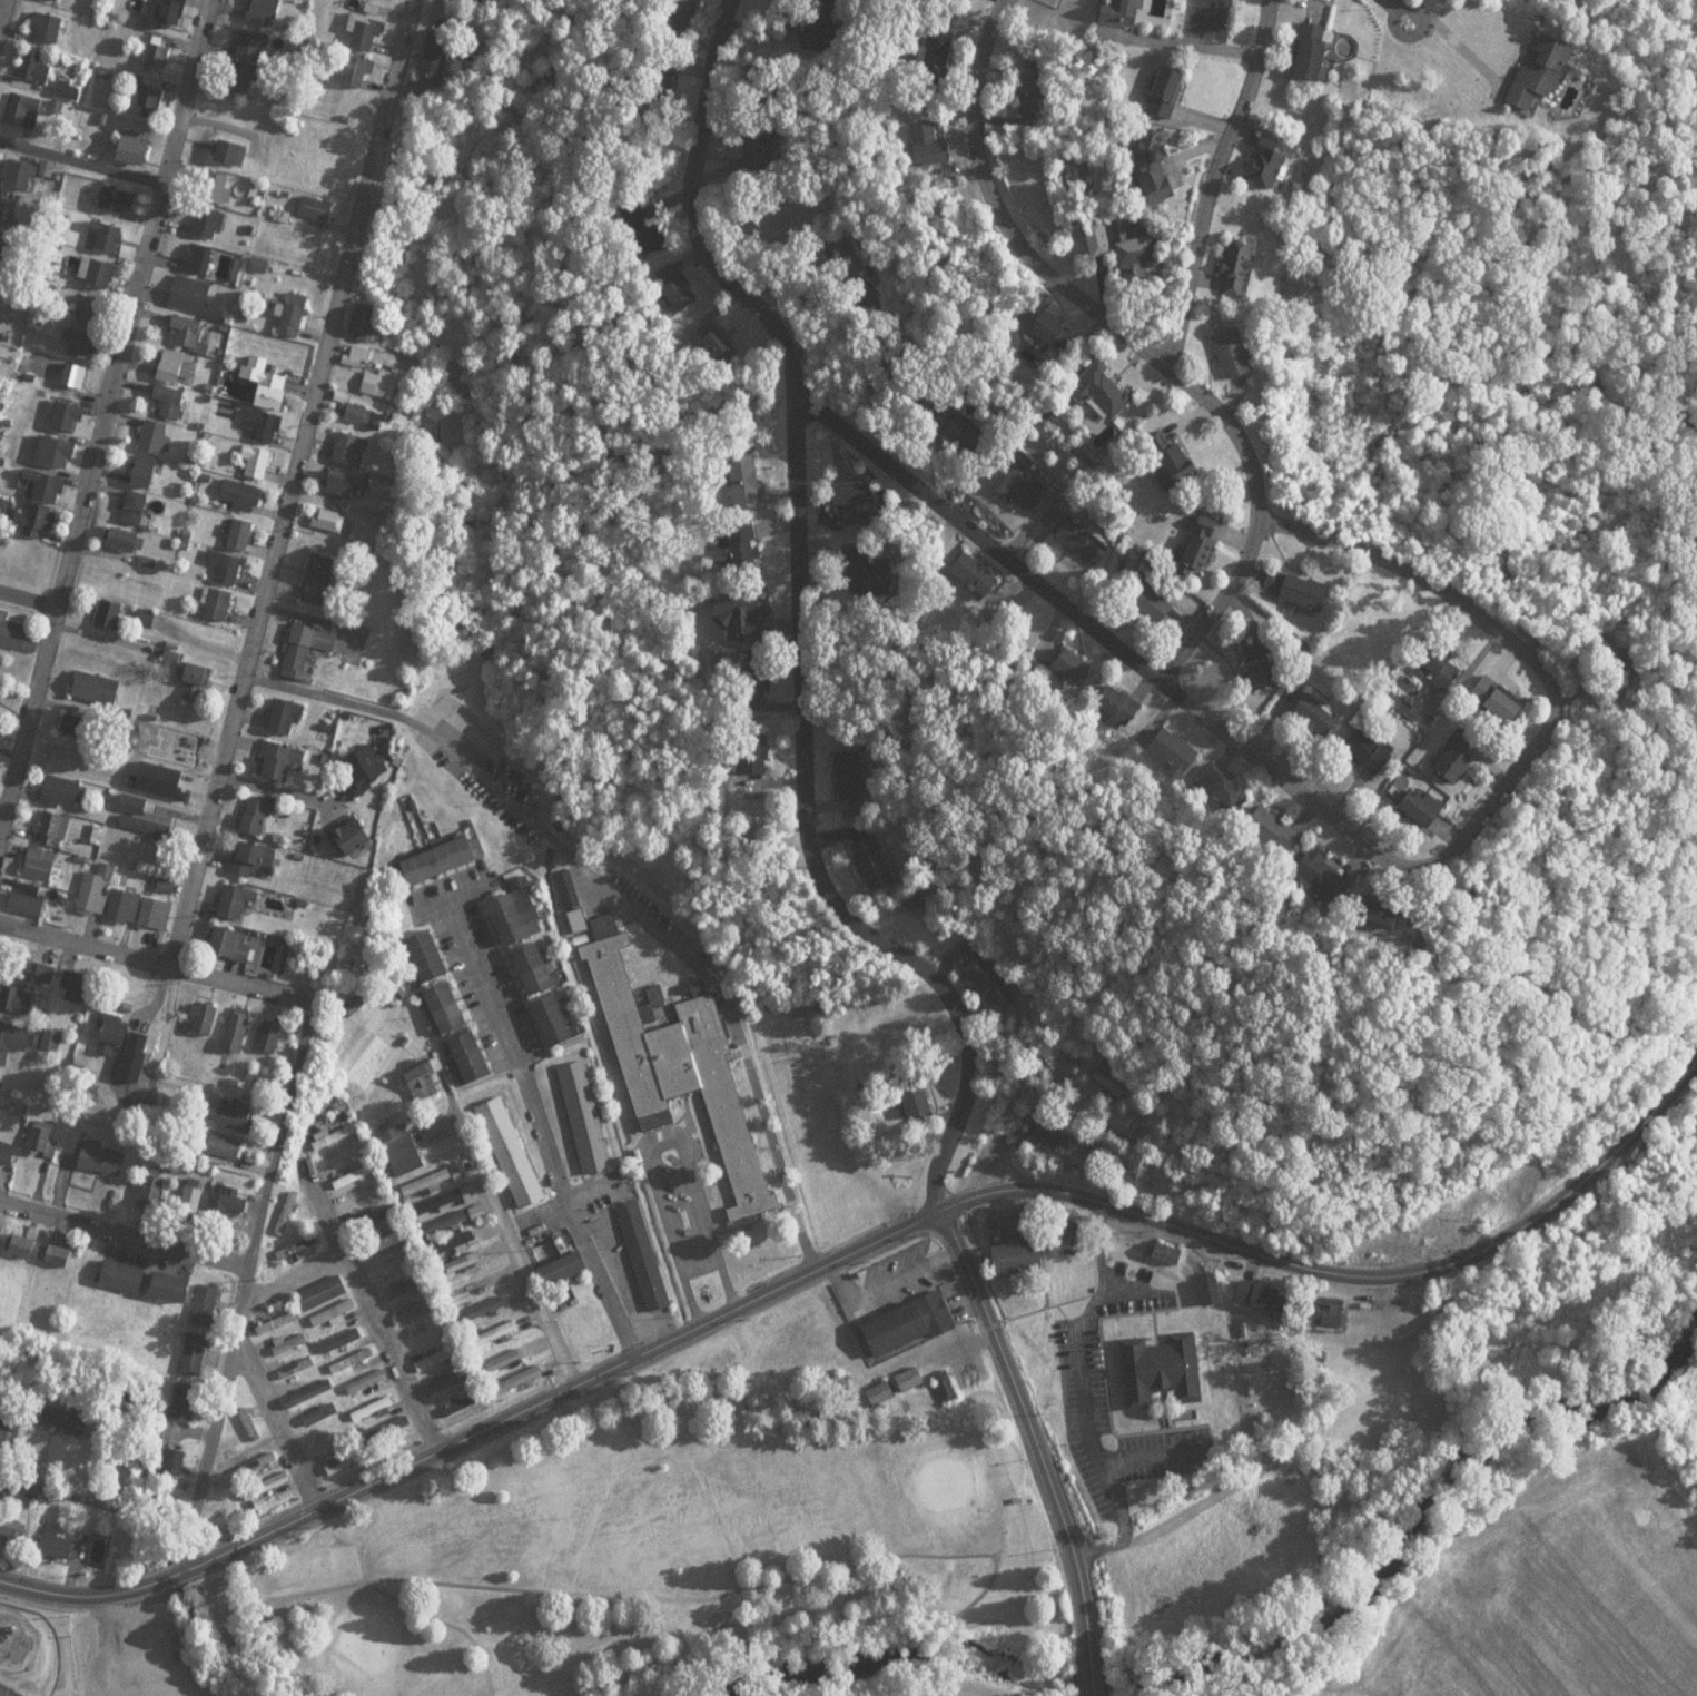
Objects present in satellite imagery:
building: (52, 2)
road: (1398, 6)
road: (2, 10)
road: (1408, 10)
building: (1121, 12)
building: (264, 16)
building: (170, 18)
building: (48, 34)
building: (368, 43)
road: (1183, 43)
building: (939, 46)
building: (253, 51)
building: (1312, 51)
building: (437, 61)
building: (158, 63)
building: (1542, 70)
building: (34, 73)
building: (361, 77)
building: (245, 85)
building: (68, 89)
building: (1034, 89)
building: (1167, 91)
building: (71, 97)
building: (152, 105)
building: (24, 118)
building: (928, 146)
building: (131, 149)
building: (760, 154)
building: (231, 160)
road: (81, 164)
building: (1154, 165)
building: (1264, 165)
building: (19, 181)
road: (1215, 181)
building: (220, 195)
building: (117, 206)
building: (317, 215)
building: (8, 217)
building: (783, 220)
building: (787, 227)
building: (210, 230)
building: (111, 245)
building: (1126, 247)
building: (4, 250)
building: (200, 265)
building: (1235, 268)
building: (0, 273)
building: (101, 280)
building: (1, 283)
road: (1055, 284)
building: (680, 300)
building: (191, 302)
building: (92, 317)
building: (296, 323)
building: (367, 327)
building: (1052, 329)
building: (188, 339)
building: (1230, 352)
building: (720, 353)
building: (177, 374)
building: (73, 382)
building: (269, 390)
building: (383, 390)
building: (1104, 391)
building: (171, 408)
road: (105, 412)
building: (65, 422)
building: (266, 432)
building: (965, 434)
building: (156, 444)
building: (352, 454)
building: (57, 460)
building: (1182, 461)
building: (256, 470)
building: (147, 479)
road: (294, 482)
building: (1020, 490)
building: (344, 491)
building: (46, 494)
building: (244, 502)
building: (137, 514)
building: (330, 526)
building: (40, 527)
building: (238, 535)
building: (1081, 541)
building: (1198, 544)
building: (124, 546)
building: (749, 566)
building: (228, 568)
building: (868, 576)
building: (969, 578)
building: (320, 580)
building: (1302, 592)
road: (28, 598)
building: (218, 602)
building: (1153, 603)
road: (797, 618)
building: (110, 621)
building: (740, 623)
building: (13, 639)
building: (304, 648)
building: (1261, 664)
building: (1073, 665)
building: (1437, 667)
building: (197, 689)
building: (98, 696)
building: (1508, 703)
building: (1119, 704)
building: (1318, 714)
building: (288, 722)
building: (1172, 751)
building: (1370, 751)
building: (1456, 757)
building: (279, 768)
building: (847, 773)
building: (367, 788)
building: (1223, 788)
road: (284, 791)
building: (63, 798)
building: (1422, 808)
building: (258, 824)
building: (144, 827)
building: (147, 835)
building: (1276, 835)
building: (53, 837)
building: (355, 842)
building: (442, 858)
building: (254, 866)
building: (871, 866)
road: (1424, 869)
building: (40, 871)
building: (1324, 878)
road: (620, 889)
building: (96, 897)
building: (29, 907)
building: (238, 908)
building: (1382, 911)
building: (125, 915)
building: (507, 917)
building: (157, 920)
building: (576, 928)
building: (233, 951)
building: (430, 956)
building: (534, 972)
building: (42, 979)
building: (988, 983)
road: (320, 984)
building: (77, 992)
road: (285, 992)
building: (17, 1007)
building: (448, 1009)
building: (555, 1022)
building: (207, 1026)
building: (239, 1039)
road: (509, 1039)
building: (273, 1044)
building: (124, 1045)
building: (52, 1046)
building: (13, 1047)
building: (466, 1056)
building: (675, 1061)
building: (0, 1087)
building: (425, 1089)
building: (2, 1100)
building: (915, 1100)
building: (238, 1123)
building: (585, 1125)
building: (1042, 1135)
building: (327, 1136)
road: (661, 1136)
building: (330, 1144)
building: (43, 1150)
building: (341, 1155)
building: (404, 1157)
building: (8, 1160)
building: (512, 1160)
building: (344, 1163)
building: (105, 1166)
building: (351, 1175)
building: (423, 1182)
building: (354, 1183)
building: (426, 1189)
building: (154, 1194)
building: (442, 1201)
building: (445, 1207)
road: (948, 1209)
building: (284, 1212)
building: (230, 1214)
building: (0, 1217)
building: (371, 1217)
building: (287, 1220)
building: (451, 1220)
building: (374, 1225)
road: (124, 1226)
building: (454, 1226)
building: (2, 1236)
building: (384, 1241)
building: (451, 1243)
building: (298, 1246)
building: (387, 1249)
building: (455, 1251)
road: (521, 1251)
building: (28, 1254)
building: (300, 1254)
building: (1165, 1254)
building: (56, 1255)
building: (1020, 1258)
building: (461, 1262)
building: (60, 1263)
building: (393, 1263)
building: (645, 1263)
building: (464, 1270)
building: (395, 1271)
road: (605, 1271)
building: (566, 1278)
road: (279, 1281)
building: (126, 1283)
building: (403, 1288)
building: (1210, 1292)
building: (174, 1294)
building: (407, 1295)
building: (1264, 1296)
building: (325, 1300)
building: (477, 1310)
building: (414, 1311)
building: (207, 1312)
road: (371, 1313)
building: (330, 1314)
building: (1330, 1317)
building: (481, 1318)
building: (417, 1319)
building: (275, 1322)
building: (333, 1322)
building: (909, 1324)
building: (278, 1330)
building: (494, 1333)
building: (424, 1335)
building: (338, 1340)
building: (297, 1341)
building: (497, 1341)
building: (426, 1342)
building: (282, 1347)
building: (300, 1348)
building: (343, 1348)
building: (285, 1354)
building: (436, 1358)
building: (349, 1360)
building: (195, 1361)
building: (440, 1365)
building: (294, 1367)
building: (354, 1368)
building: (1155, 1370)
building: (297, 1374)
building: (908, 1379)
building: (447, 1380)
building: (514, 1380)
building: (364, 1382)
building: (944, 1386)
building: (451, 1388)
building: (517, 1388)
building: (366, 1389)
building: (306, 1393)
building: (880, 1393)
road: (1083, 1393)
building: (309, 1400)
building: (461, 1403)
building: (186, 1408)
building: (369, 1409)
building: (465, 1411)
building: (318, 1414)
building: (373, 1417)
building: (322, 1422)
building: (69, 1429)
road: (282, 1430)
building: (250, 1432)
building: (11, 1433)
building: (319, 1434)
building: (397, 1438)
building: (323, 1442)
road: (1036, 1448)
road: (1148, 1451)
building: (254, 1465)
building: (257, 1472)
building: (181, 1478)
building: (276, 1480)
building: (279, 1487)
road: (98, 1505)
building: (16, 1539)
building: (59, 1551)
park: (682, 1562)
road: (741, 1586)
road: (92, 1590)
road: (266, 1604)
road: (408, 1605)
road: (145, 1645)
road: (934, 1667)
road: (936, 1692)

